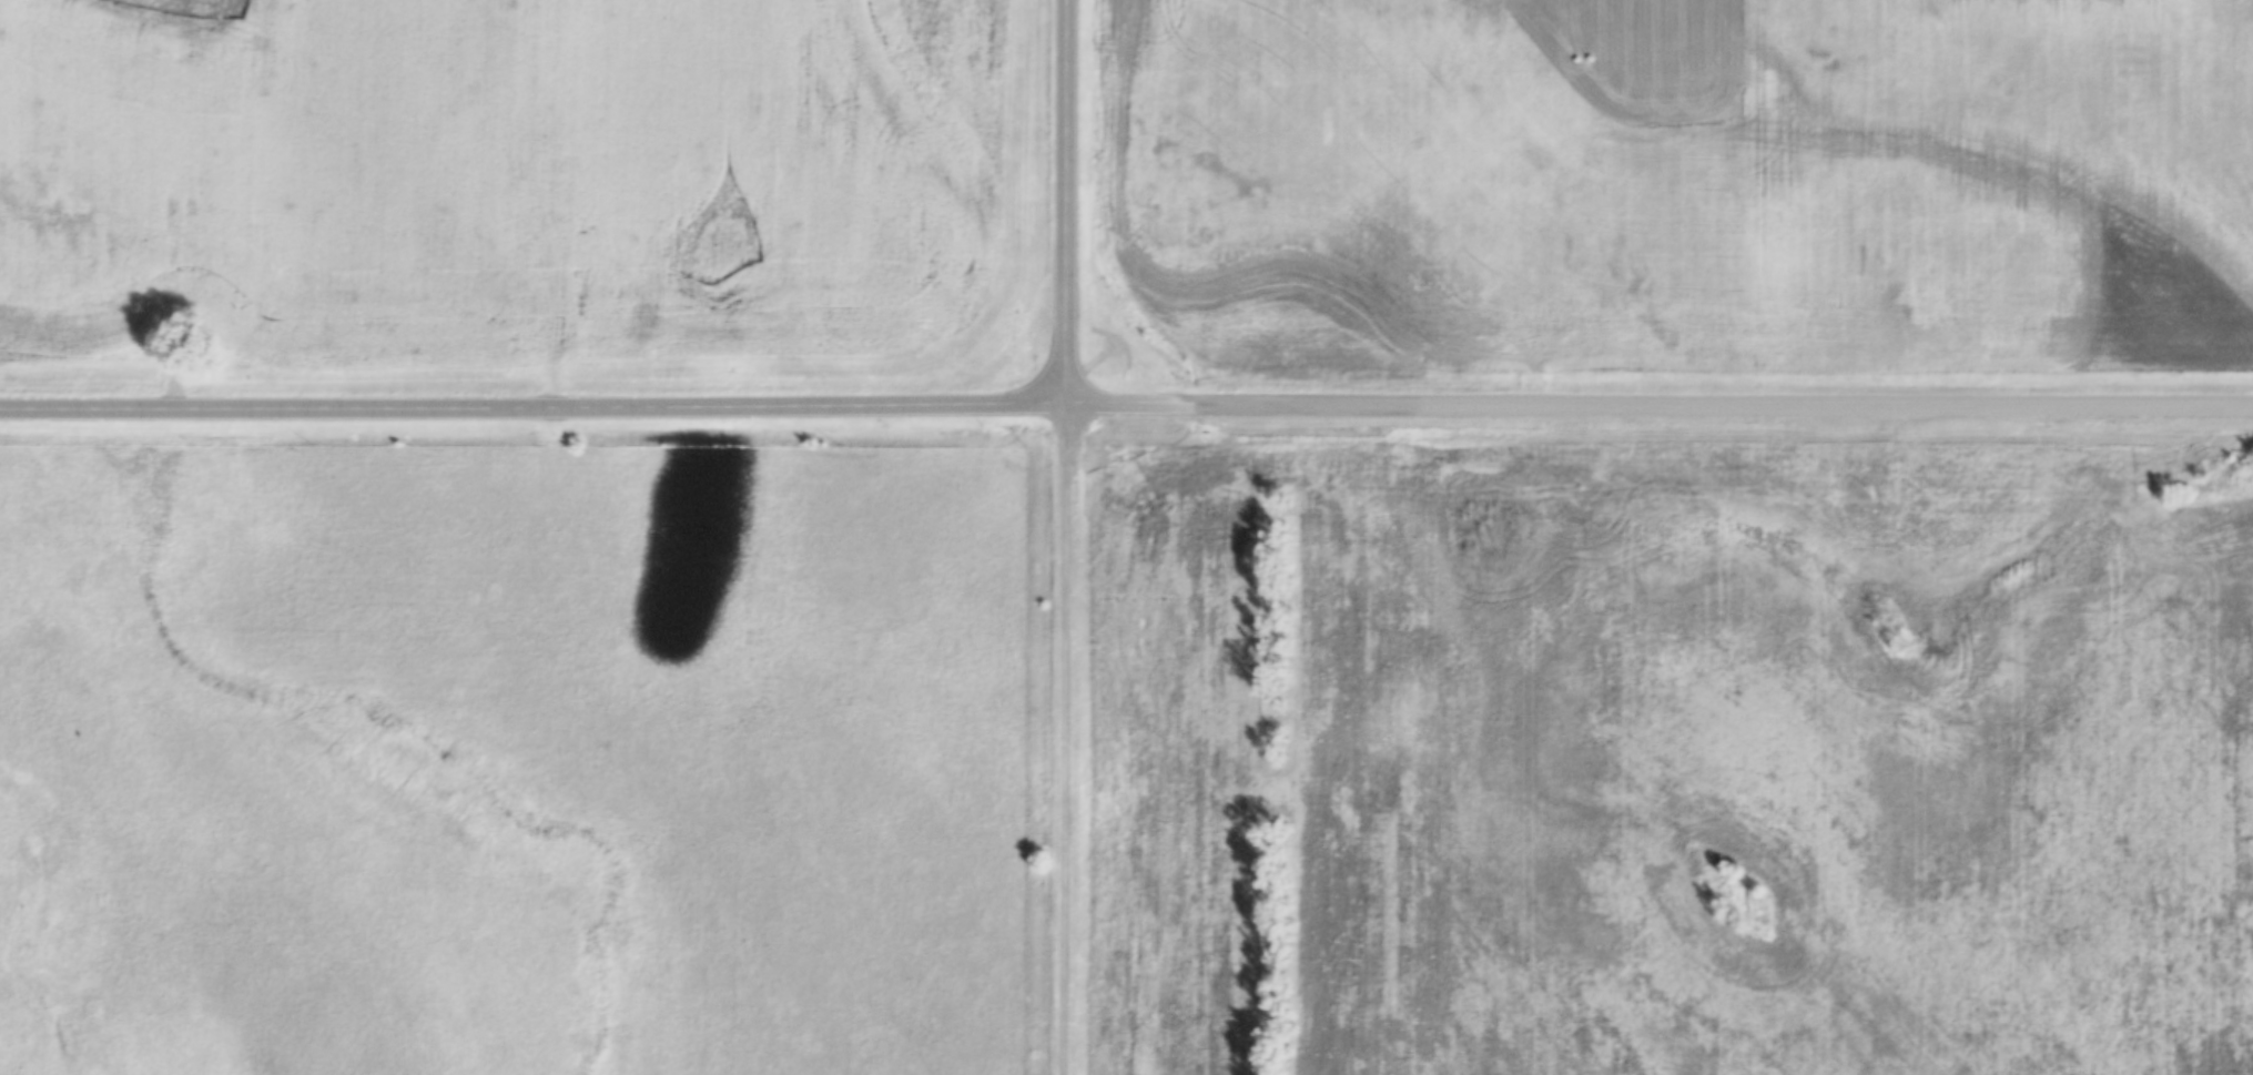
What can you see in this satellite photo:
road: (1075, 202)
road: (1665, 408)
road: (539, 412)
road: (1077, 739)

